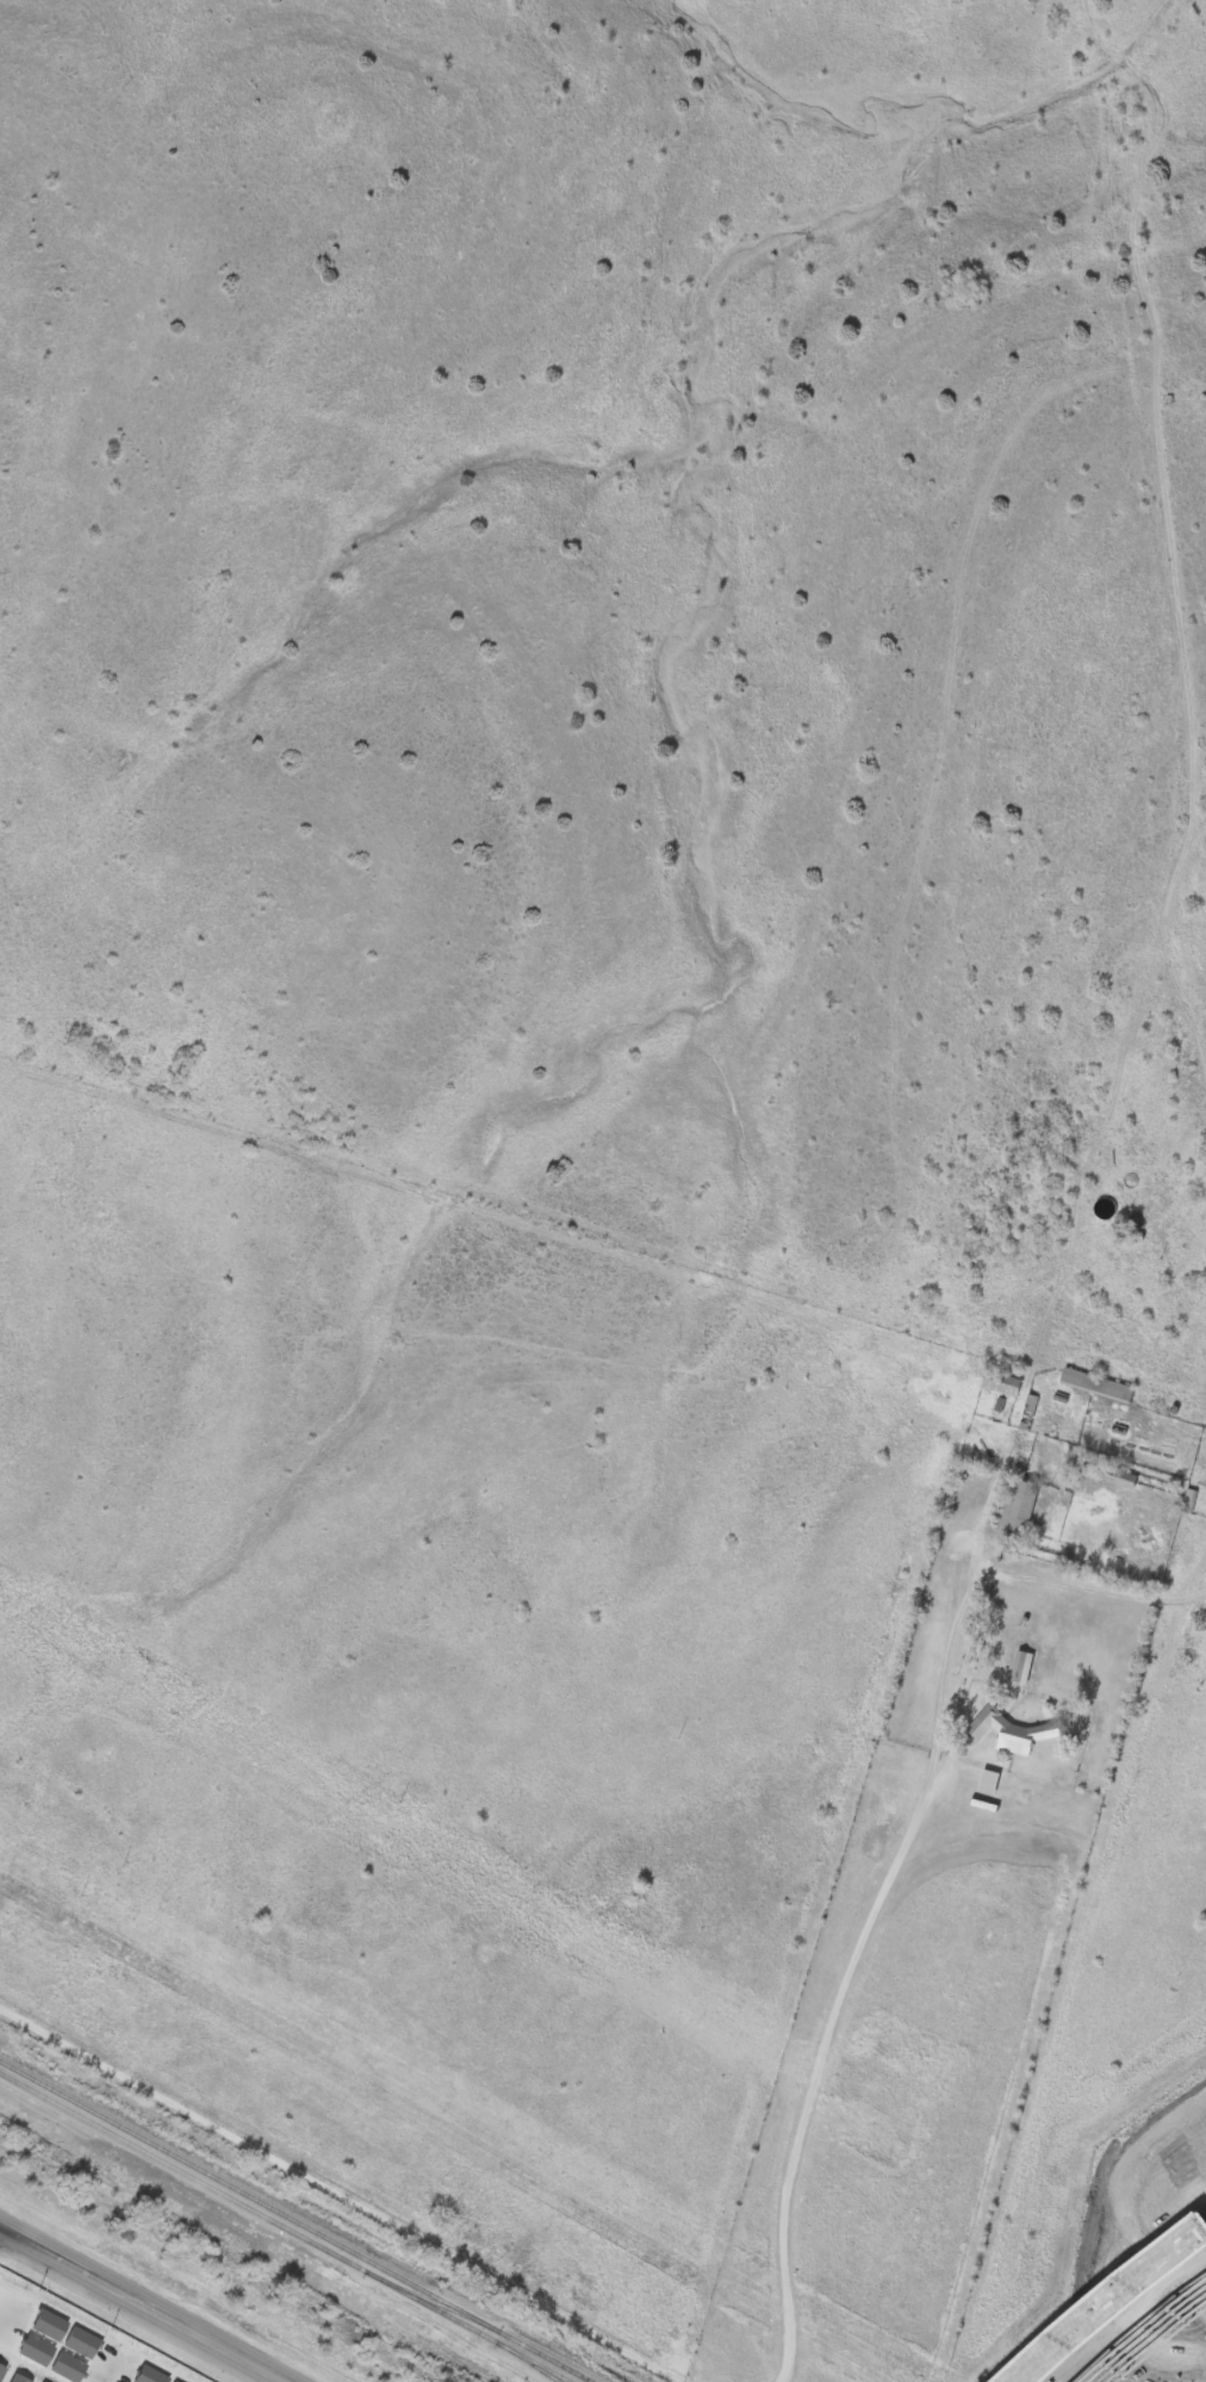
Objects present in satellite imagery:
building: (1105, 1206)
building: (1001, 1380)
building: (1126, 1479)
building: (1188, 1498)
building: (1015, 1503)
building: (1021, 1665)
building: (1008, 1725)
road: (814, 2071)
road: (342, 2194)
railway: (297, 2220)
railway: (281, 2224)
road: (141, 2306)
railway: (539, 2363)
road: (112, 2370)

